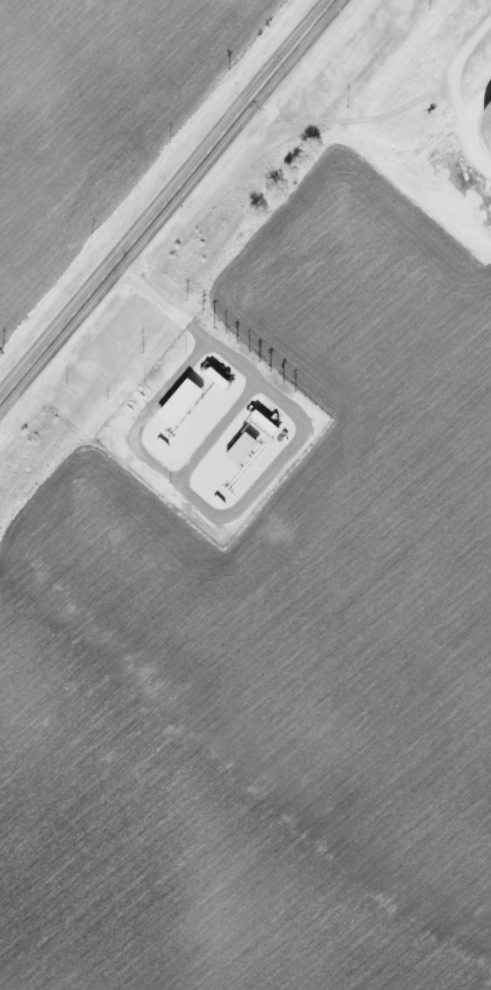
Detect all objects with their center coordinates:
road: (288, 56)
building: (487, 126)
silo: (487, 126)
railway: (211, 252)
road: (122, 261)

